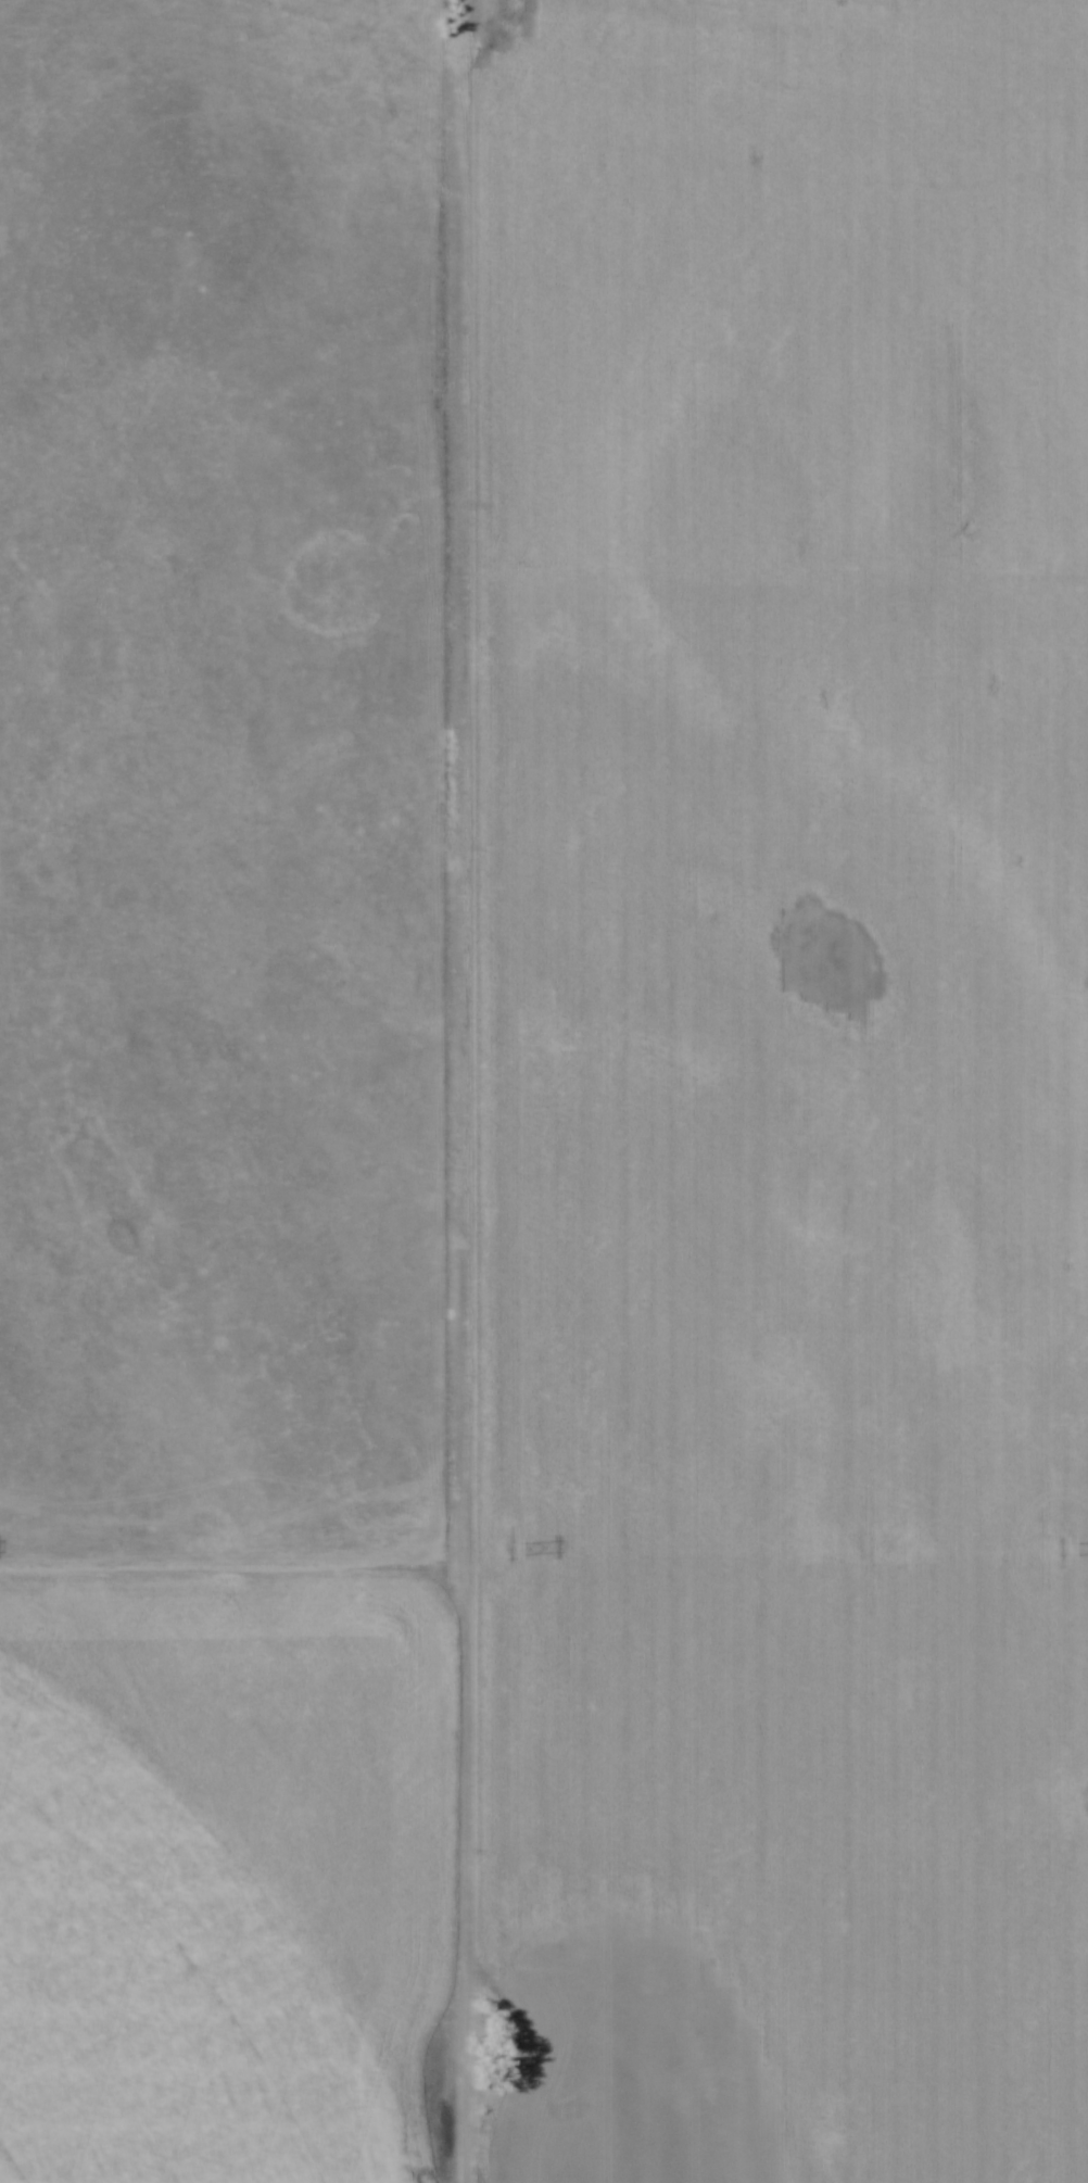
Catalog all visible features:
road: (468, 1118)
power tower: (1071, 1550)
power tower: (518, 1553)

